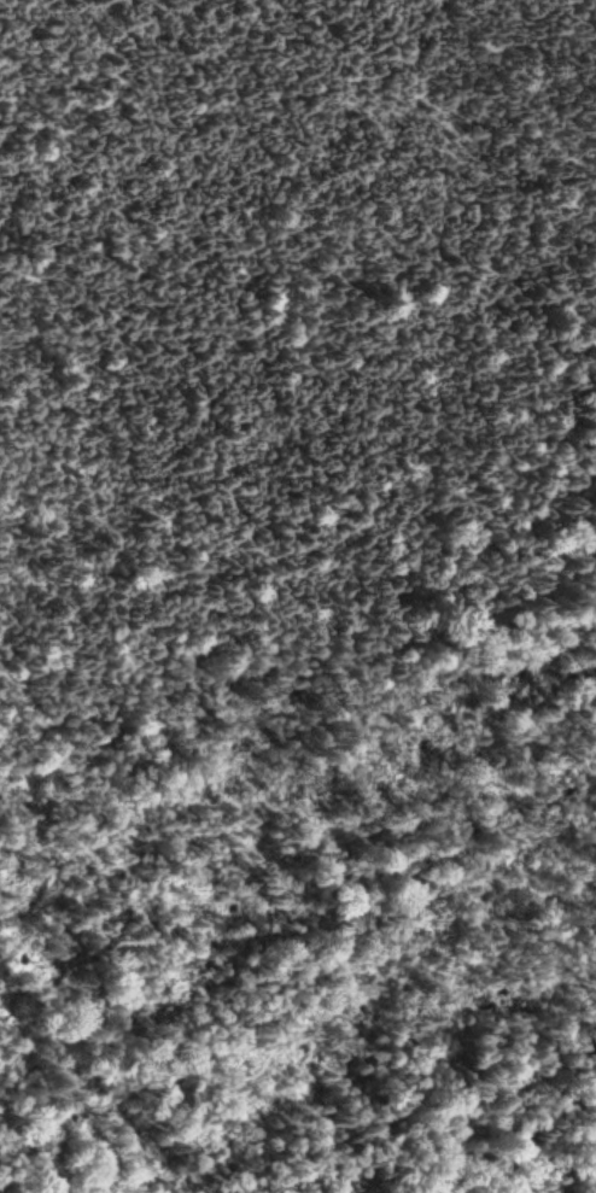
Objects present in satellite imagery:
road: (121, 935)

